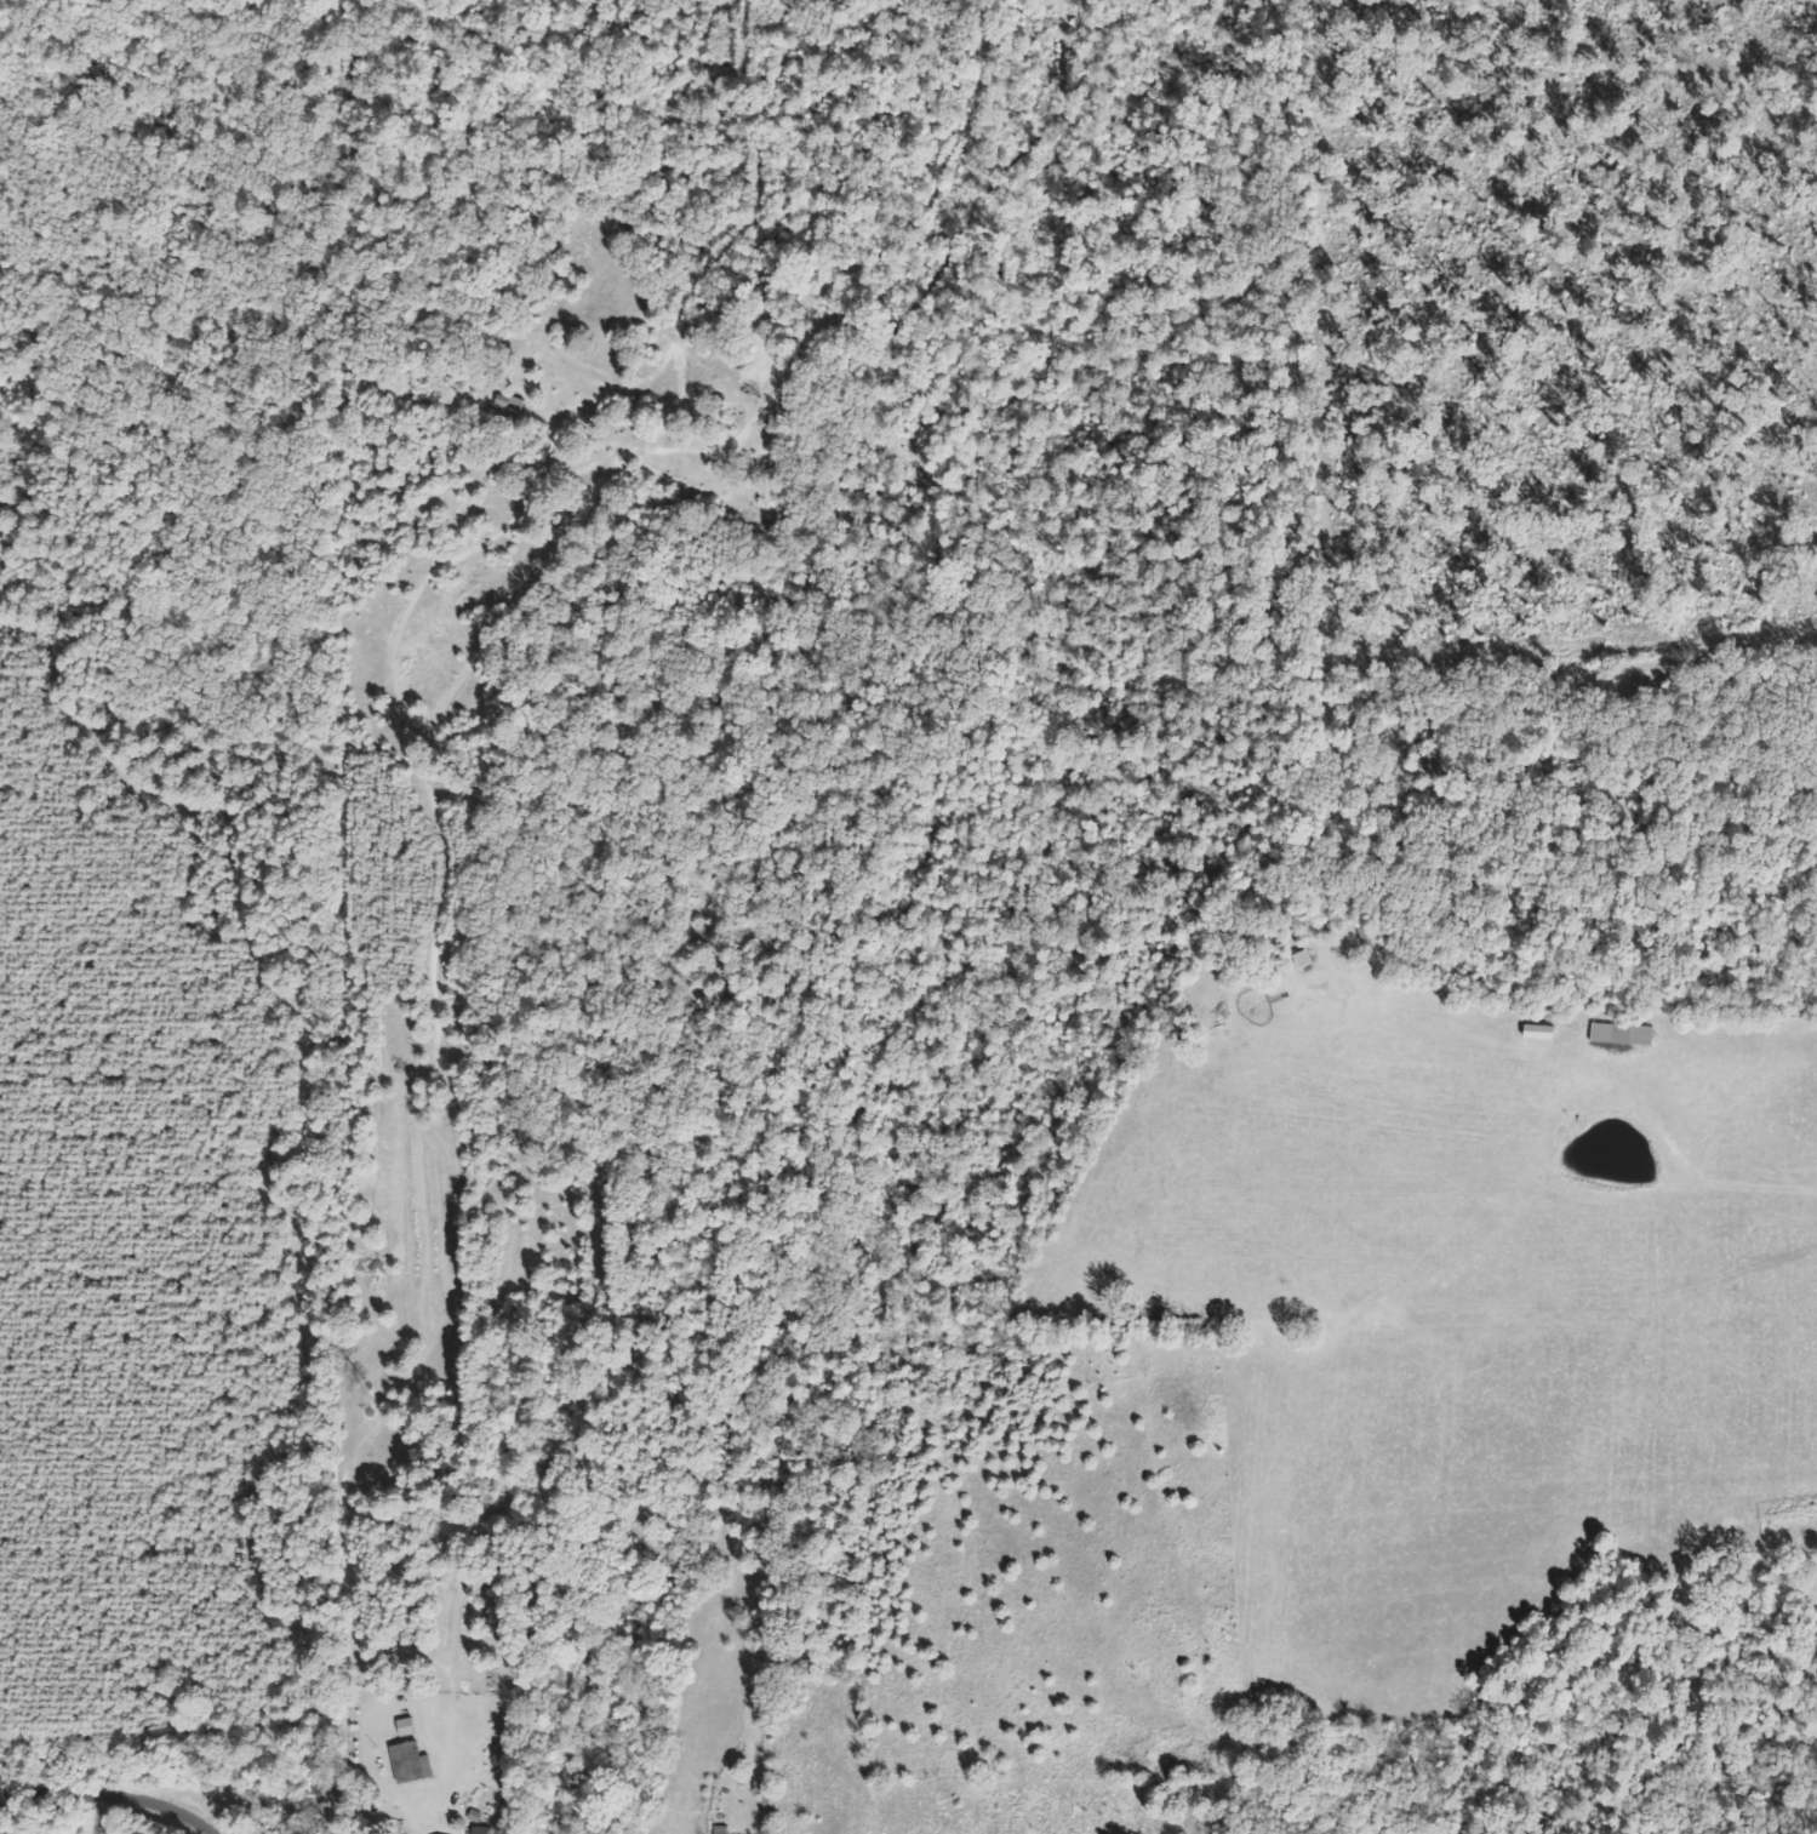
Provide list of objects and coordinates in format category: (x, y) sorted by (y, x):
building: (1623, 1034)
building: (408, 1727)
building: (413, 1764)
road: (109, 1798)
building: (485, 1830)
building: (722, 1830)

